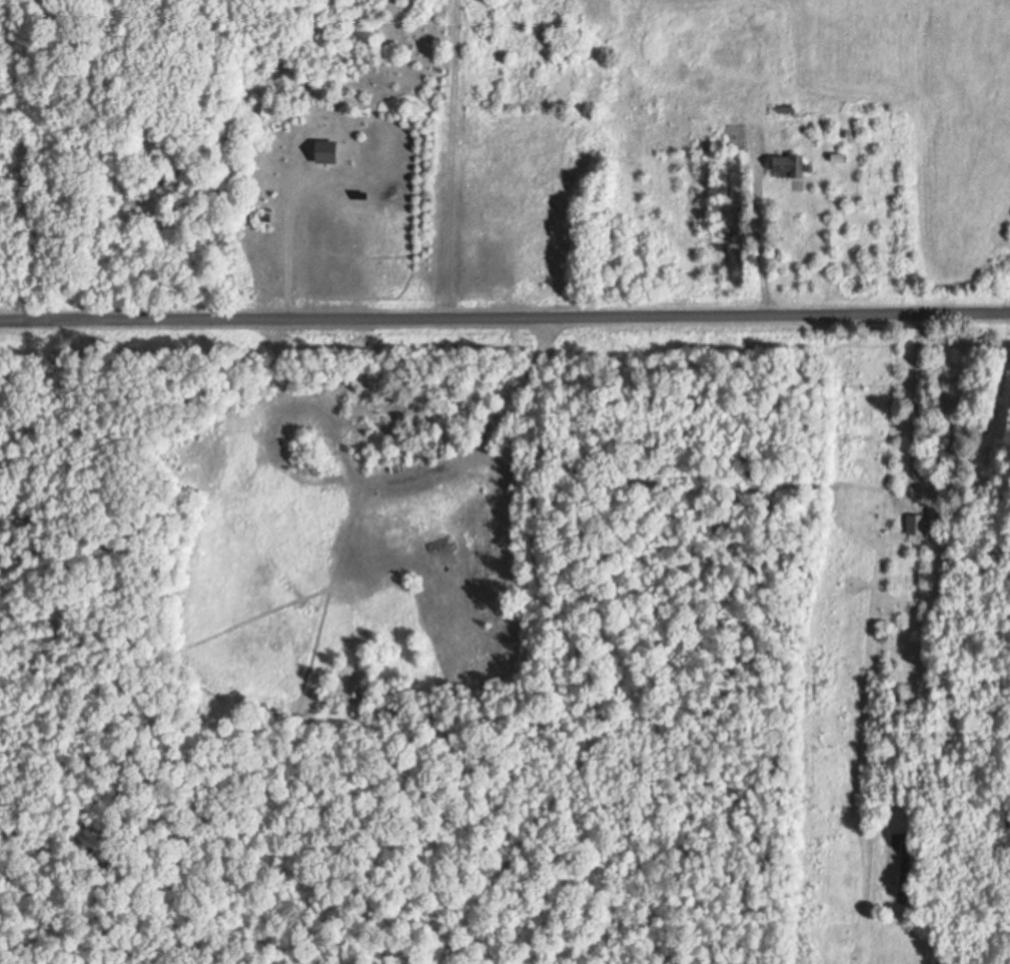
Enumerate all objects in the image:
building: (784, 107)
building: (329, 152)
building: (841, 157)
building: (790, 165)
building: (267, 217)
building: (726, 232)
road: (505, 317)
building: (955, 455)
building: (398, 466)
building: (949, 512)
building: (920, 524)

